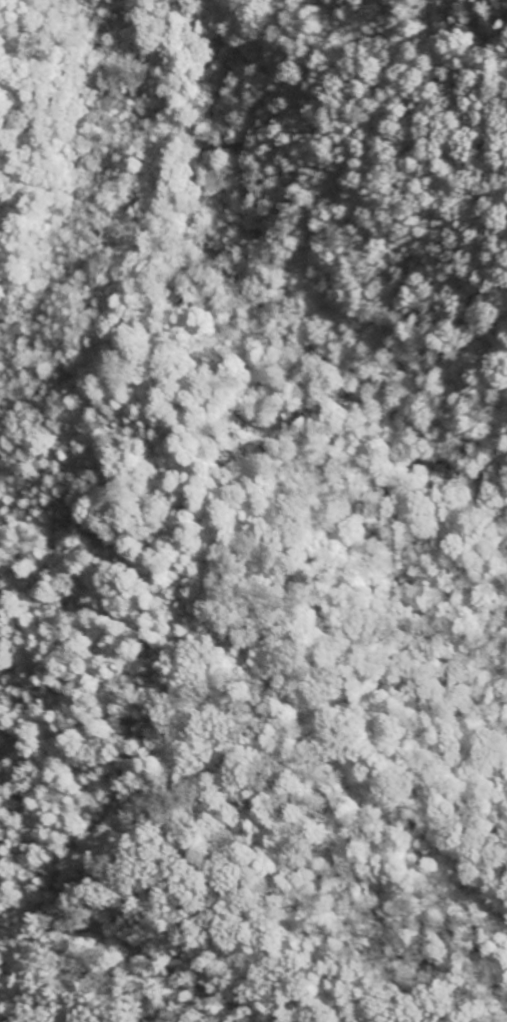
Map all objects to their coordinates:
road: (161, 472)

